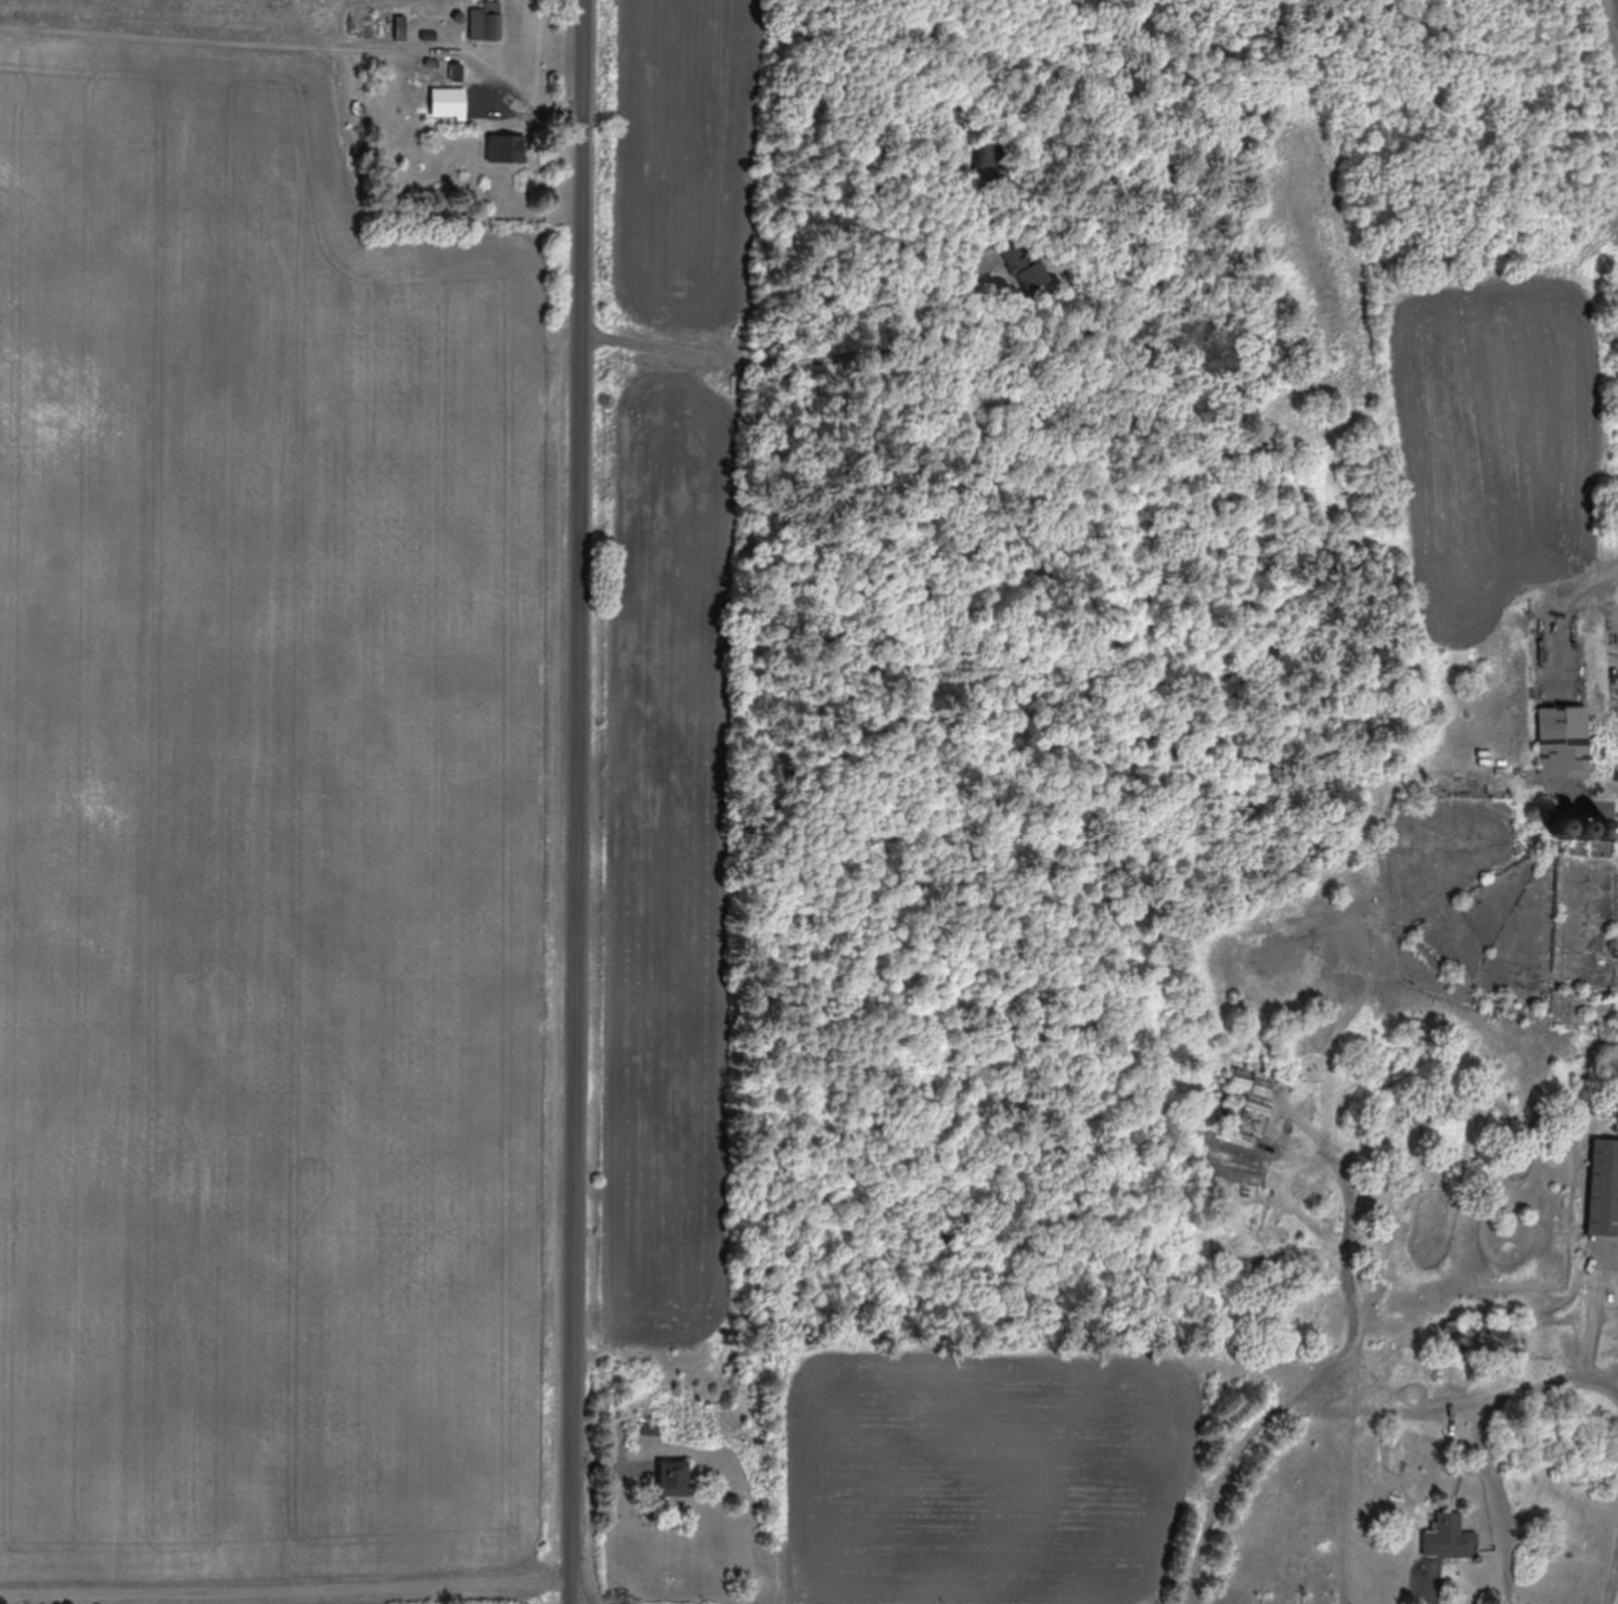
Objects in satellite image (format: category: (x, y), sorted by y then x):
building: (486, 24)
building: (385, 27)
building: (431, 70)
building: (450, 105)
building: (505, 152)
building: (960, 152)
building: (987, 161)
building: (1024, 268)
building: (1563, 742)
road: (576, 801)
building: (1580, 829)
road: (779, 1156)
building: (1604, 1190)
building: (1491, 1342)
building: (672, 1480)
building: (1450, 1541)

